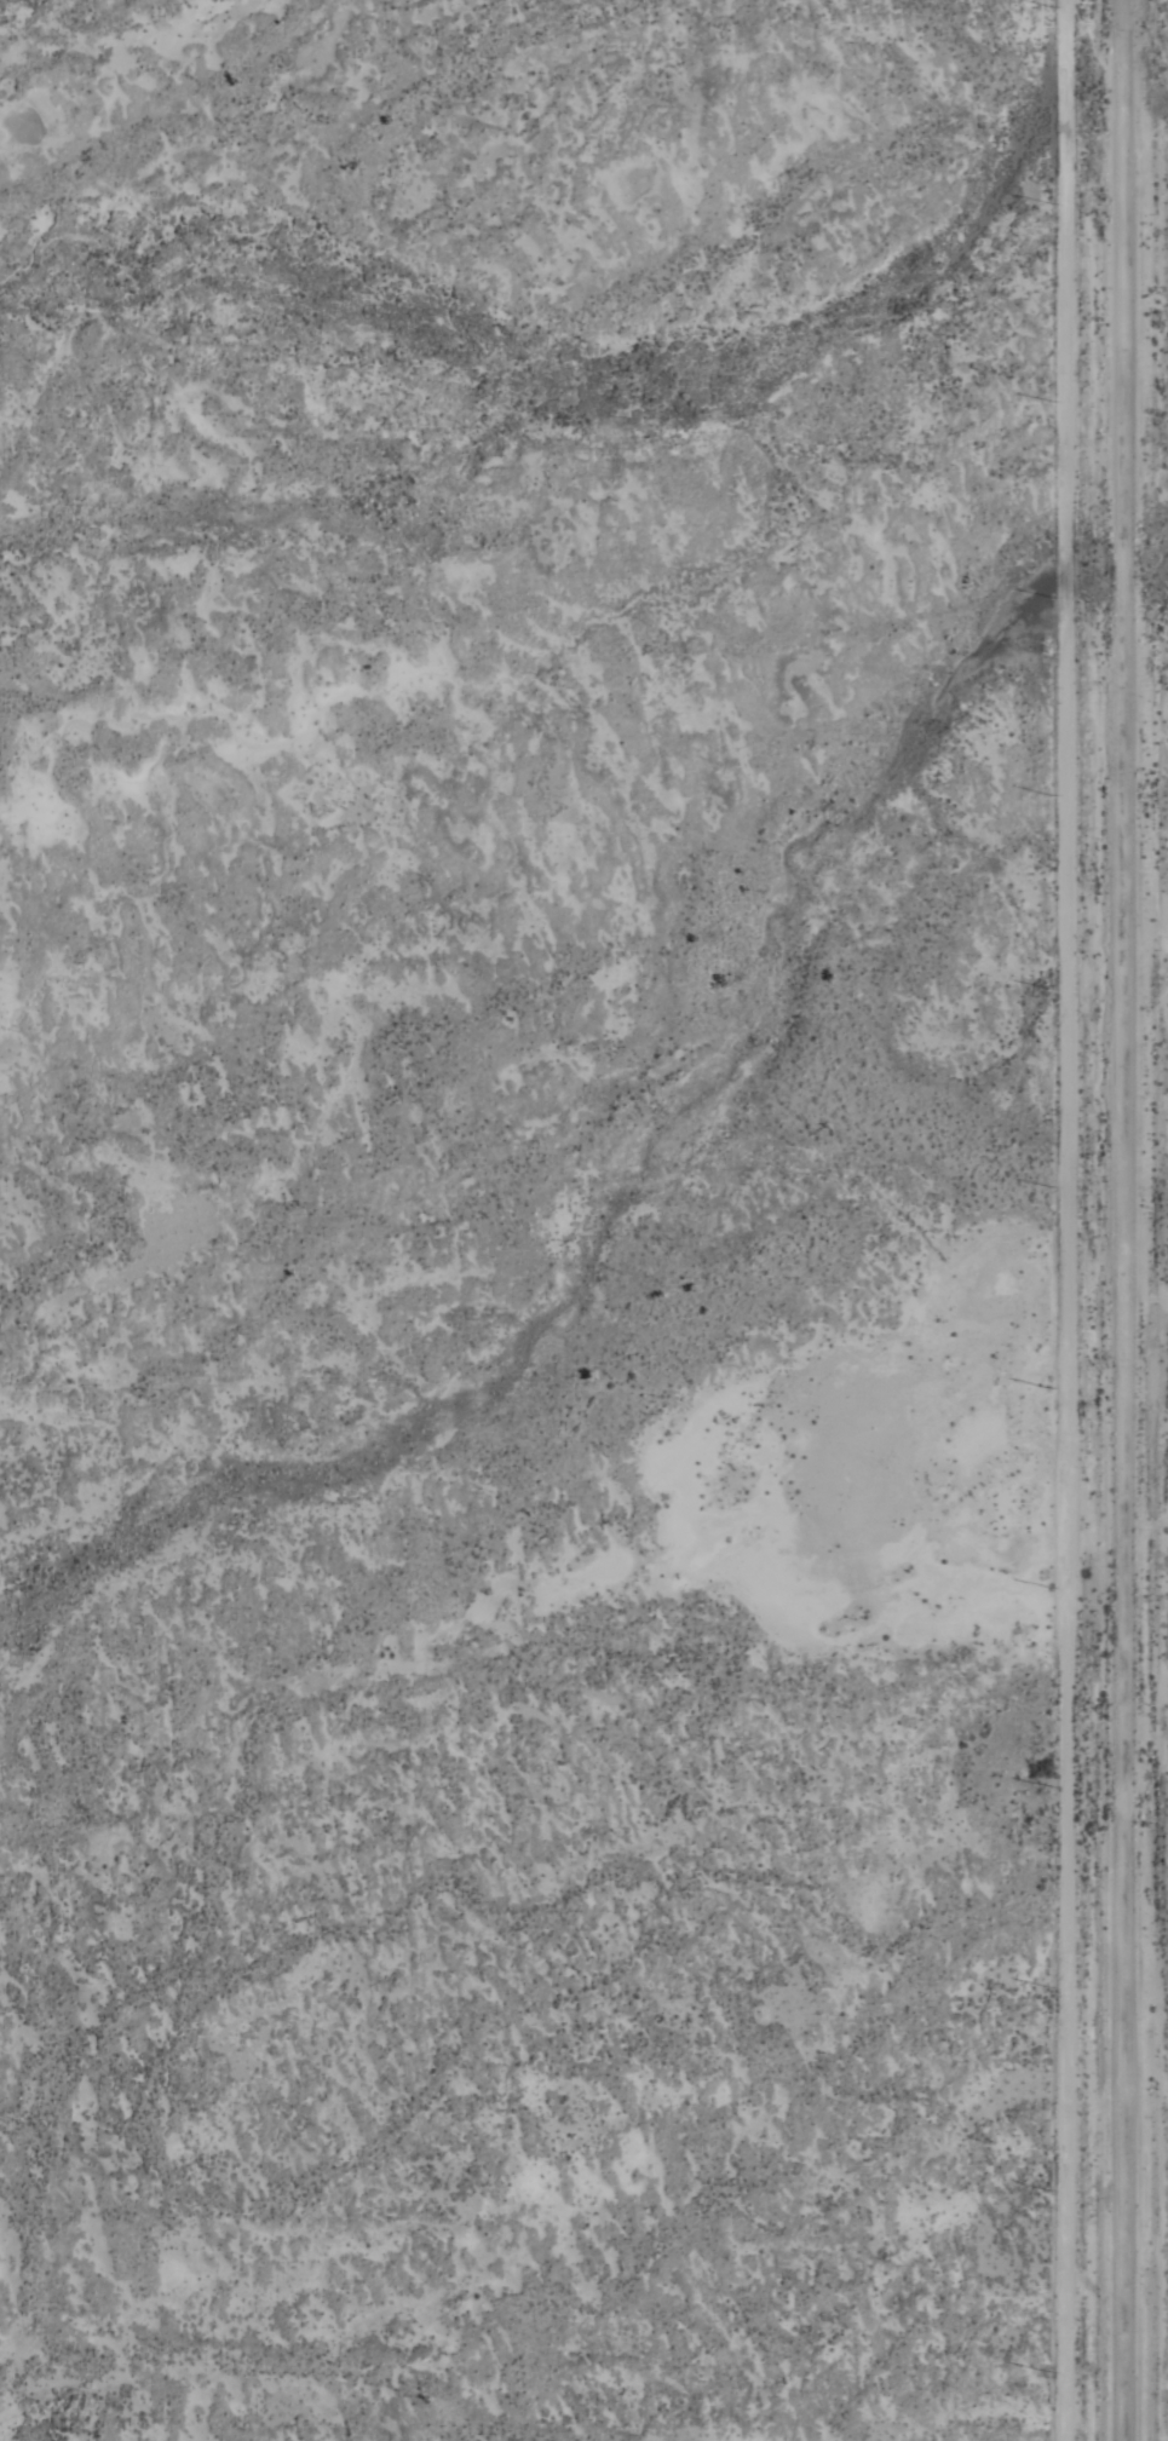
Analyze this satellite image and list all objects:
road: (1055, 1220)
road: (1127, 1220)

